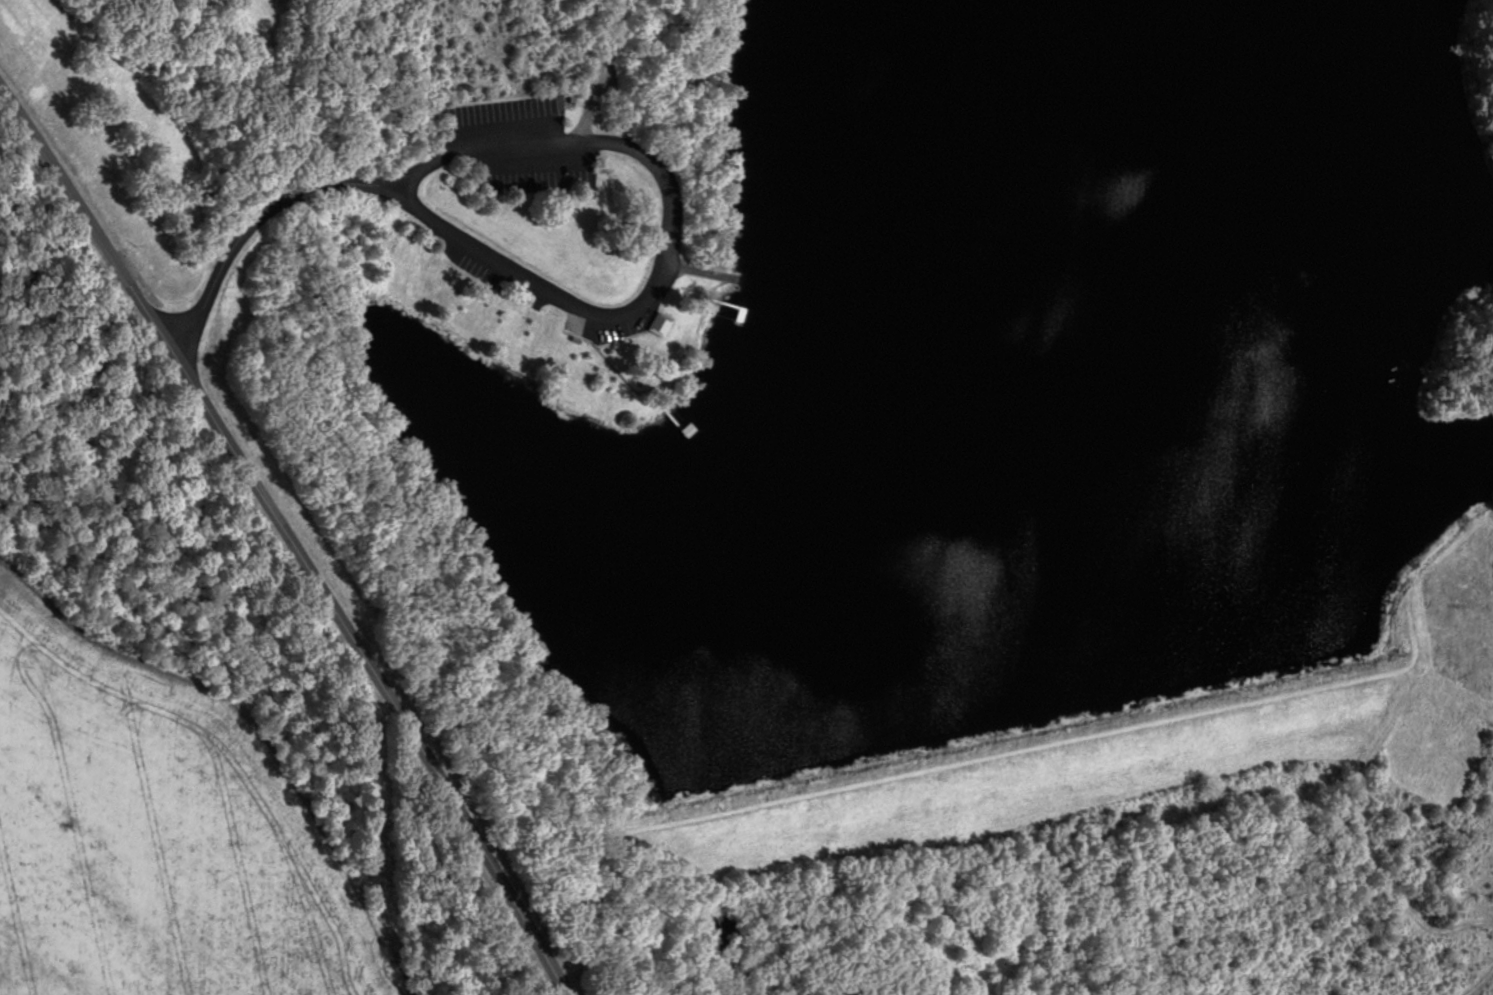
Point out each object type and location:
road: (606, 142)
parking lot: (522, 155)
road: (404, 203)
road: (85, 218)
building: (658, 324)
road: (372, 669)
dam: (1140, 750)

